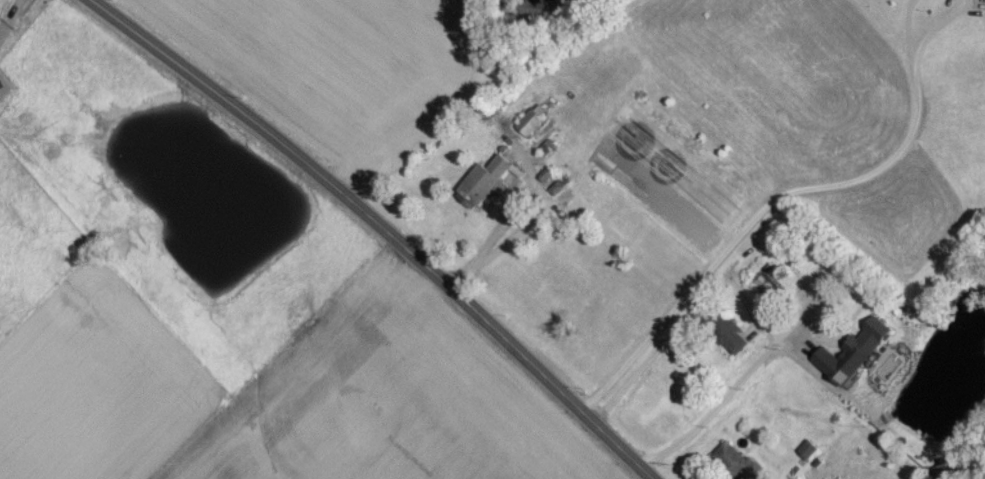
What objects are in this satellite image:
road: (934, 28)
road: (907, 32)
building: (531, 125)
building: (546, 152)
building: (485, 186)
building: (554, 189)
road: (542, 210)
road: (753, 219)
road: (373, 228)
road: (672, 334)
building: (728, 340)
building: (858, 357)
road: (733, 388)
building: (807, 456)

